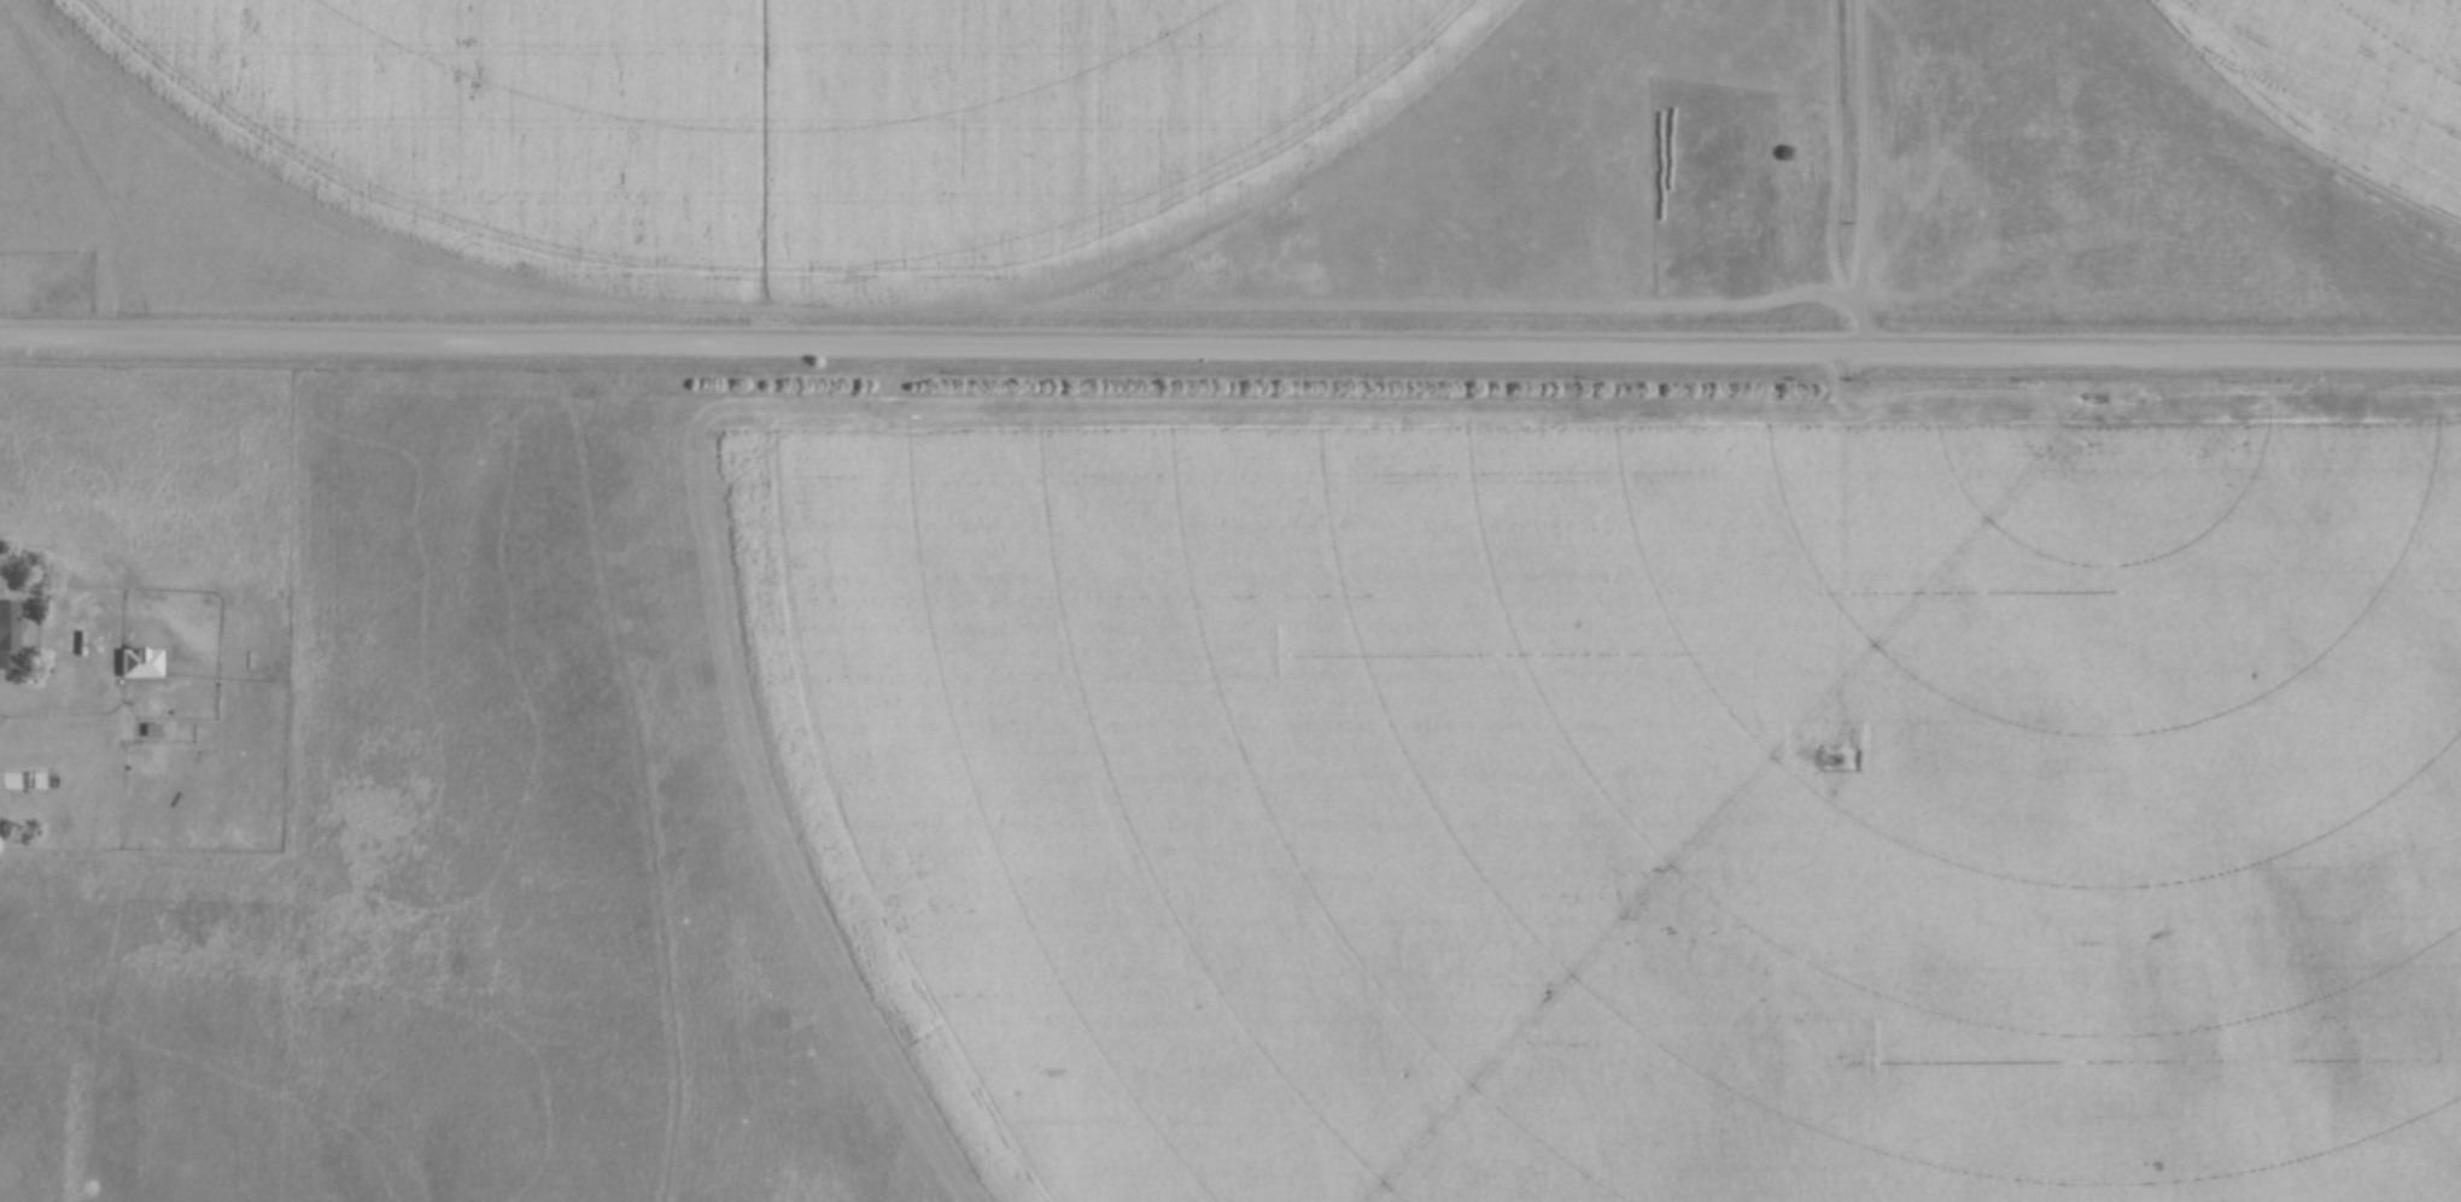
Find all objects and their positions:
crop: (2339, 86)
crop: (784, 123)
road: (1230, 341)
building: (8, 629)
building: (141, 661)
building: (151, 727)
building: (19, 779)
crop: (1624, 804)

